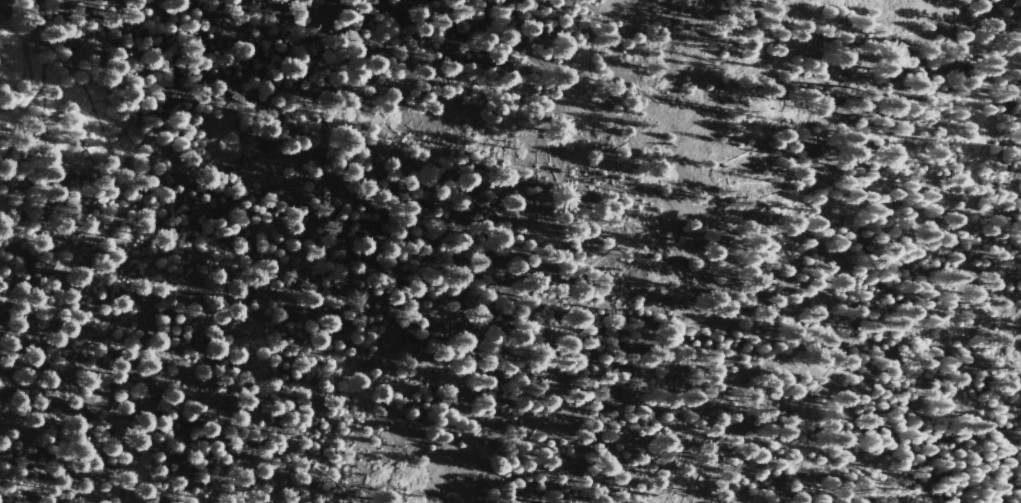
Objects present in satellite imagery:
road: (716, 253)

